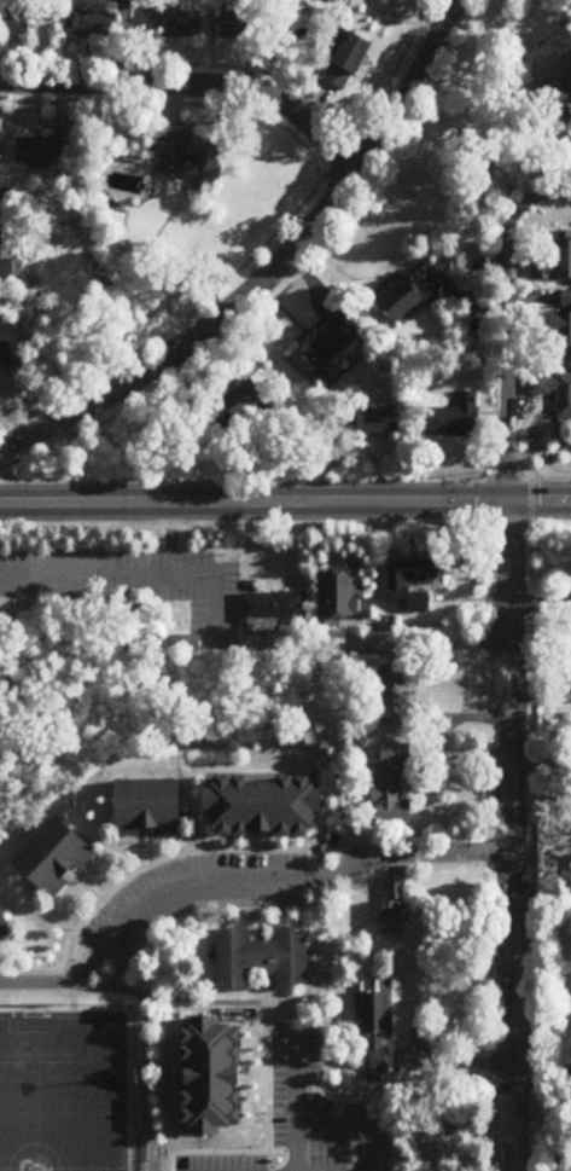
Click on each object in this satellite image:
building: (356, 0)
building: (171, 24)
building: (93, 25)
building: (17, 27)
building: (239, 27)
building: (357, 54)
road: (194, 87)
building: (550, 111)
building: (0, 151)
building: (46, 152)
building: (194, 161)
building: (2, 257)
building: (554, 266)
road: (278, 272)
building: (418, 296)
road: (508, 324)
building: (561, 325)
building: (322, 350)
building: (553, 392)
building: (245, 400)
building: (380, 421)
building: (454, 421)
road: (285, 505)
traffic signals: (508, 505)
road: (151, 528)
road: (169, 539)
building: (415, 568)
road: (140, 573)
road: (121, 595)
building: (340, 596)
building: (566, 605)
building: (270, 609)
road: (425, 645)
building: (569, 647)
building: (570, 674)
building: (395, 691)
road: (175, 724)
road: (467, 755)
building: (392, 783)
building: (260, 804)
building: (145, 805)
road: (513, 837)
road: (145, 846)
road: (268, 850)
building: (51, 854)
road: (314, 859)
road: (138, 870)
road: (239, 880)
road: (83, 887)
road: (261, 906)
building: (390, 906)
road: (368, 917)
road: (257, 922)
building: (4, 926)
building: (258, 956)
road: (34, 972)
road: (266, 989)
road: (203, 1002)
building: (372, 1022)
road: (410, 1028)
road: (144, 1047)
road: (456, 1061)
building: (206, 1074)
road: (241, 1074)
road: (543, 1074)
road: (266, 1086)
park: (60, 1094)
road: (296, 1094)
road: (355, 1125)
road: (223, 1152)

